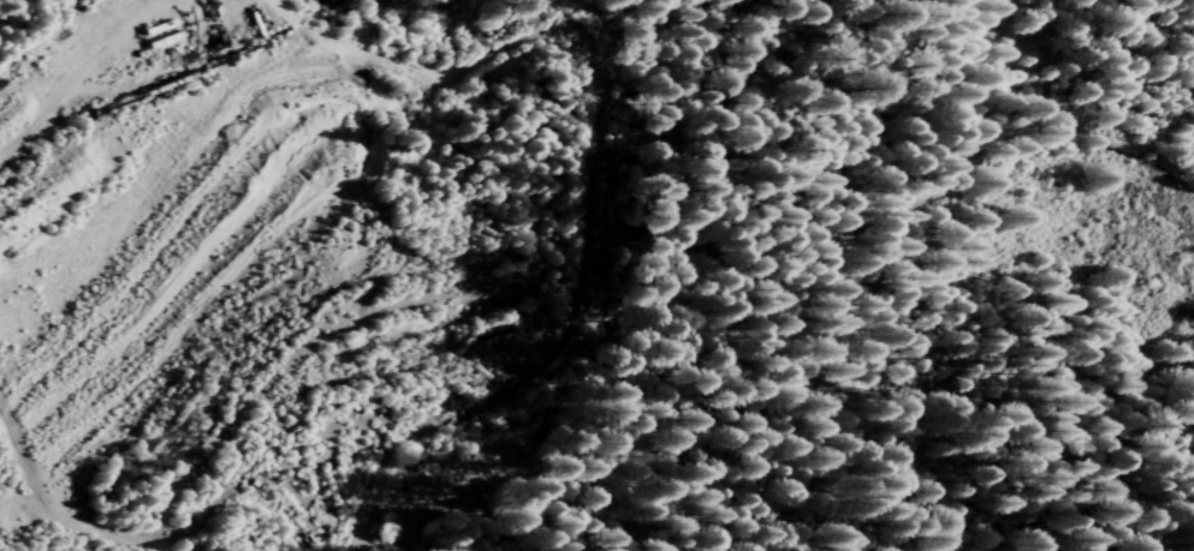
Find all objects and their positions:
quarry: (277, 260)
road: (360, 540)

